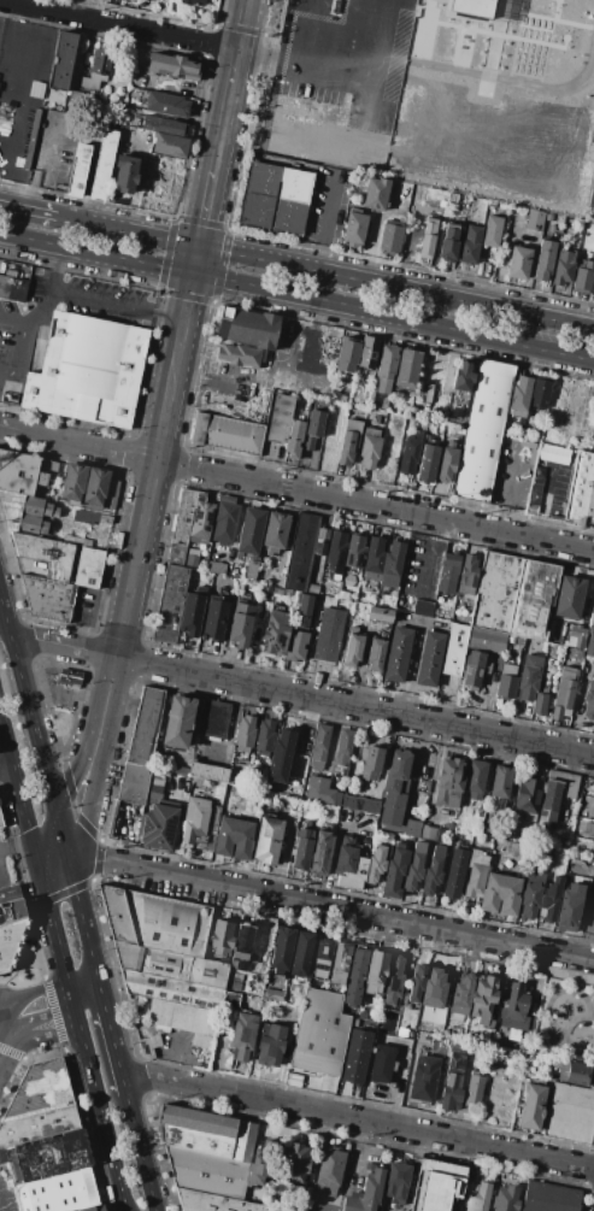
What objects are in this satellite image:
building: (193, 2)
building: (472, 7)
road: (89, 8)
building: (322, 22)
road: (118, 24)
road: (20, 58)
building: (61, 60)
building: (174, 65)
road: (298, 66)
building: (95, 71)
road: (131, 80)
road: (229, 86)
park: (504, 92)
building: (75, 99)
building: (164, 104)
building: (163, 124)
road: (254, 139)
building: (169, 143)
building: (102, 164)
building: (78, 170)
building: (125, 174)
building: (375, 194)
building: (276, 198)
building: (590, 199)
road: (204, 208)
road: (27, 210)
building: (548, 217)
road: (320, 219)
building: (535, 221)
building: (354, 228)
building: (492, 231)
building: (428, 237)
building: (390, 239)
building: (448, 242)
building: (469, 245)
traffic signals: (198, 247)
road: (195, 259)
building: (543, 259)
building: (519, 263)
building: (563, 266)
traffic signals: (193, 271)
road: (202, 272)
road: (323, 272)
building: (583, 276)
building: (14, 281)
building: (592, 286)
road: (43, 298)
road: (114, 304)
road: (184, 308)
building: (247, 327)
road: (499, 340)
parking lot: (22, 351)
building: (329, 351)
road: (12, 352)
building: (367, 352)
building: (240, 354)
building: (347, 354)
building: (289, 359)
building: (386, 366)
building: (407, 369)
building: (87, 371)
building: (463, 376)
road: (213, 377)
building: (540, 393)
building: (335, 396)
building: (521, 396)
road: (569, 399)
building: (375, 400)
building: (382, 404)
building: (280, 419)
building: (314, 423)
building: (353, 425)
building: (482, 431)
building: (227, 434)
building: (295, 436)
building: (308, 442)
building: (346, 449)
building: (369, 449)
building: (408, 455)
building: (447, 463)
building: (427, 464)
building: (47, 466)
building: (17, 471)
building: (41, 480)
building: (72, 483)
building: (518, 487)
building: (94, 488)
road: (296, 488)
building: (581, 490)
building: (112, 493)
road: (545, 493)
building: (535, 494)
road: (147, 501)
building: (39, 507)
building: (84, 517)
building: (105, 519)
building: (201, 522)
building: (224, 522)
building: (34, 524)
building: (183, 524)
building: (274, 531)
building: (249, 533)
building: (82, 534)
building: (76, 540)
building: (320, 542)
building: (301, 551)
building: (334, 551)
building: (45, 553)
building: (353, 553)
building: (192, 557)
building: (372, 558)
building: (390, 564)
building: (89, 566)
building: (216, 566)
building: (448, 569)
building: (251, 570)
road: (429, 571)
building: (469, 574)
building: (312, 588)
building: (281, 590)
building: (495, 592)
building: (264, 593)
building: (48, 596)
building: (569, 598)
building: (534, 599)
road: (1, 604)
building: (169, 604)
building: (423, 607)
building: (302, 610)
building: (190, 613)
building: (592, 613)
building: (380, 615)
building: (214, 619)
building: (241, 621)
building: (275, 628)
building: (329, 634)
building: (575, 637)
building: (487, 639)
building: (590, 643)
building: (295, 646)
building: (353, 648)
building: (454, 649)
building: (514, 649)
building: (396, 653)
building: (375, 656)
building: (429, 659)
building: (499, 662)
building: (475, 669)
building: (70, 676)
building: (533, 678)
building: (507, 681)
road: (301, 694)
building: (564, 694)
building: (588, 703)
building: (539, 704)
road: (577, 704)
road: (105, 706)
road: (29, 712)
building: (212, 718)
building: (178, 722)
building: (146, 725)
building: (245, 734)
building: (264, 736)
road: (6, 737)
building: (319, 746)
road: (419, 747)
building: (343, 749)
building: (281, 754)
building: (370, 760)
road: (6, 765)
building: (398, 765)
building: (180, 770)
building: (207, 771)
building: (475, 780)
road: (67, 782)
building: (448, 782)
building: (501, 782)
building: (134, 784)
building: (155, 784)
building: (392, 784)
building: (320, 790)
building: (555, 794)
building: (528, 796)
road: (23, 801)
building: (359, 803)
road: (87, 807)
building: (390, 809)
building: (412, 810)
building: (214, 815)
traffic signals: (57, 817)
building: (194, 818)
building: (1, 823)
building: (127, 823)
building: (405, 827)
road: (45, 828)
building: (158, 828)
building: (449, 830)
building: (428, 833)
road: (61, 836)
building: (210, 837)
building: (593, 837)
traffic signals: (33, 839)
building: (234, 839)
building: (266, 840)
road: (16, 842)
road: (49, 847)
building: (301, 848)
road: (333, 851)
building: (320, 852)
traffic signals: (66, 856)
building: (346, 856)
building: (477, 858)
building: (375, 864)
building: (414, 868)
building: (433, 870)
building: (394, 871)
building: (454, 872)
building: (353, 875)
building: (475, 882)
building: (10, 892)
building: (500, 894)
building: (531, 894)
building: (551, 897)
road: (329, 909)
building: (570, 909)
building: (11, 910)
building: (157, 921)
road: (82, 922)
road: (587, 923)
building: (220, 937)
building: (242, 937)
building: (11, 940)
building: (281, 951)
building: (301, 953)
building: (322, 957)
building: (241, 960)
building: (340, 963)
building: (171, 964)
road: (37, 965)
building: (375, 971)
building: (237, 976)
building: (354, 976)
road: (582, 976)
building: (393, 980)
building: (417, 982)
building: (235, 986)
road: (49, 988)
building: (171, 989)
building: (434, 989)
building: (272, 994)
road: (555, 994)
building: (461, 997)
building: (230, 999)
building: (483, 1001)
road: (87, 1003)
road: (592, 1009)
building: (513, 1010)
building: (361, 1015)
road: (5, 1017)
building: (186, 1021)
park: (565, 1021)
road: (77, 1024)
road: (42, 1025)
road: (5, 1030)
building: (455, 1030)
building: (318, 1033)
building: (242, 1035)
road: (566, 1036)
road: (112, 1040)
building: (157, 1041)
building: (270, 1045)
building: (146, 1047)
building: (458, 1047)
building: (355, 1056)
building: (382, 1063)
building: (457, 1063)
building: (575, 1074)
building: (423, 1077)
building: (475, 1088)
building: (40, 1089)
building: (452, 1092)
building: (531, 1106)
building: (570, 1113)
road: (357, 1119)
building: (37, 1124)
building: (196, 1129)
building: (243, 1140)
road: (140, 1152)
road: (358, 1153)
building: (46, 1158)
building: (295, 1162)
building: (255, 1168)
building: (206, 1172)
building: (329, 1172)
building: (396, 1182)
building: (439, 1186)
building: (366, 1192)
building: (60, 1193)
building: (478, 1197)
building: (549, 1198)
building: (505, 1199)
building: (213, 1203)
building: (92, 1209)

